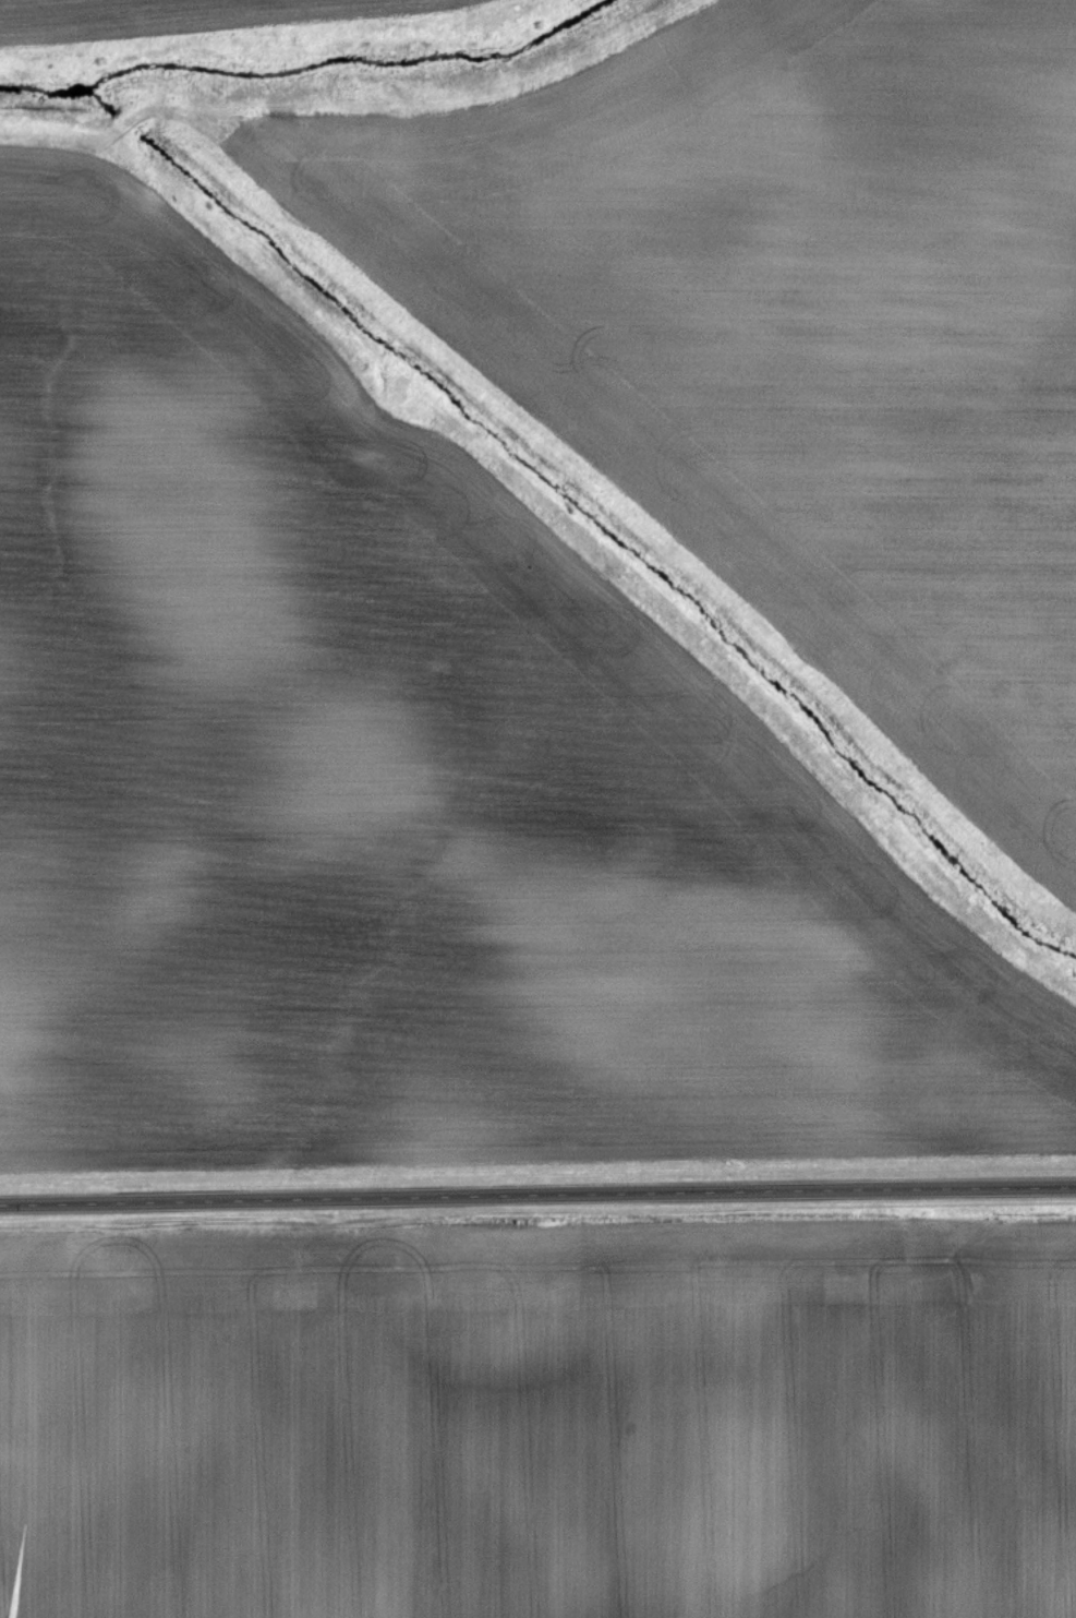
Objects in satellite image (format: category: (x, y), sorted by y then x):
road: (537, 1194)

